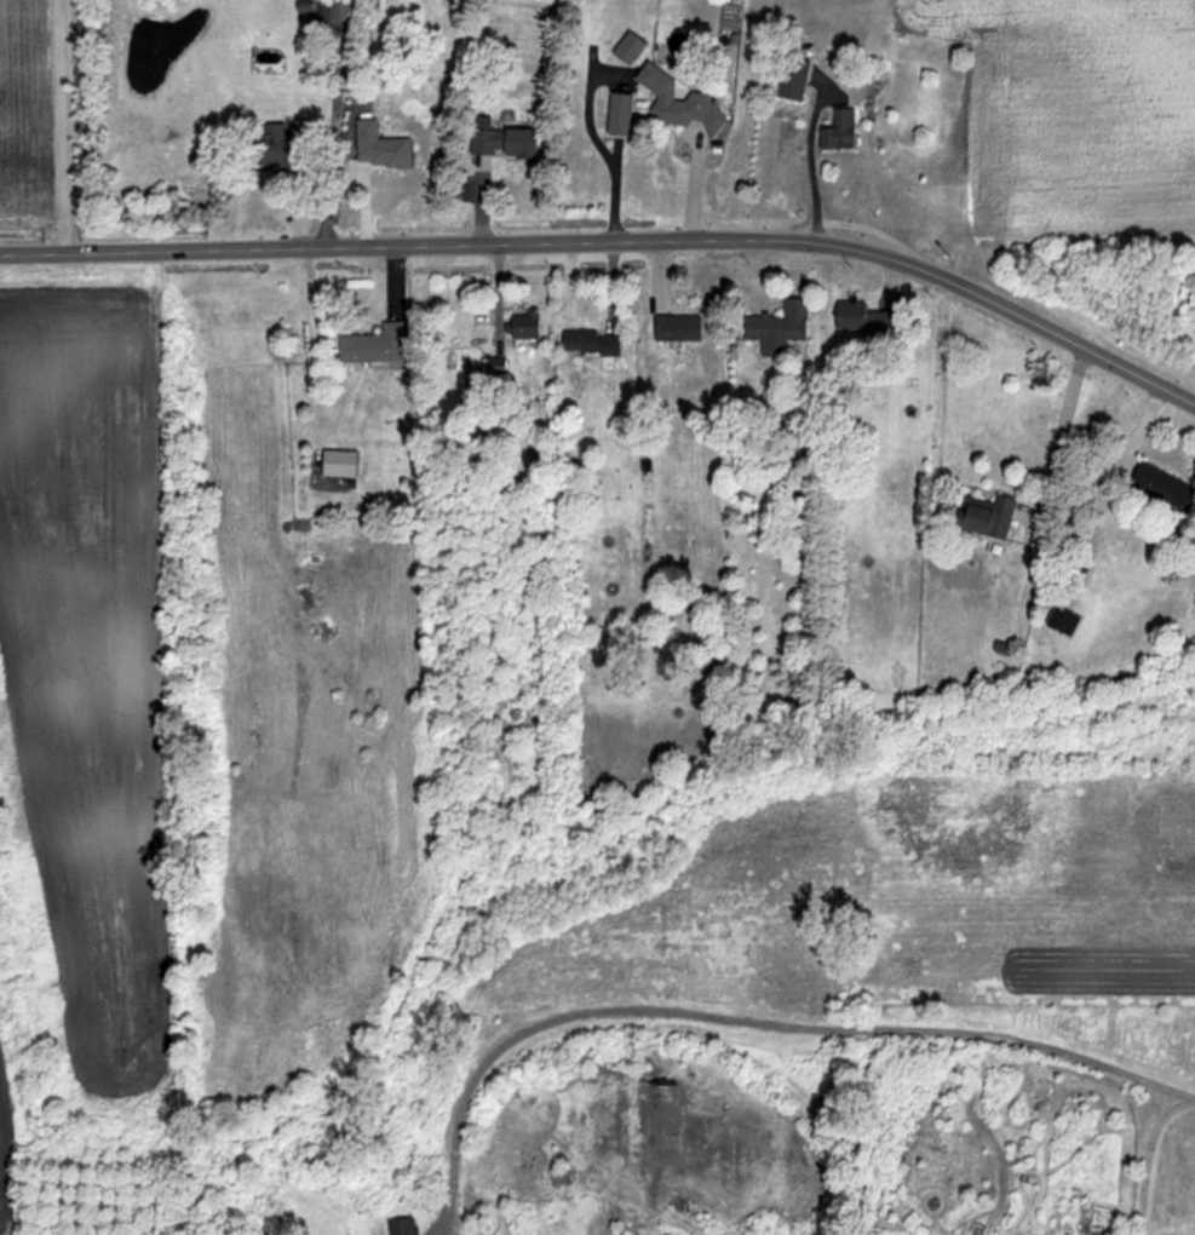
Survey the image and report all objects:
building: (337, 11)
building: (627, 48)
building: (791, 79)
building: (674, 103)
building: (616, 115)
road: (62, 123)
building: (838, 132)
building: (501, 143)
building: (272, 147)
building: (379, 149)
road: (808, 166)
road: (616, 241)
building: (854, 316)
building: (522, 324)
building: (674, 328)
building: (776, 328)
building: (576, 341)
building: (373, 346)
road: (1063, 435)
building: (337, 465)
building: (1160, 487)
building: (983, 517)
road: (763, 1023)
road: (1160, 1101)
road: (1149, 1158)

